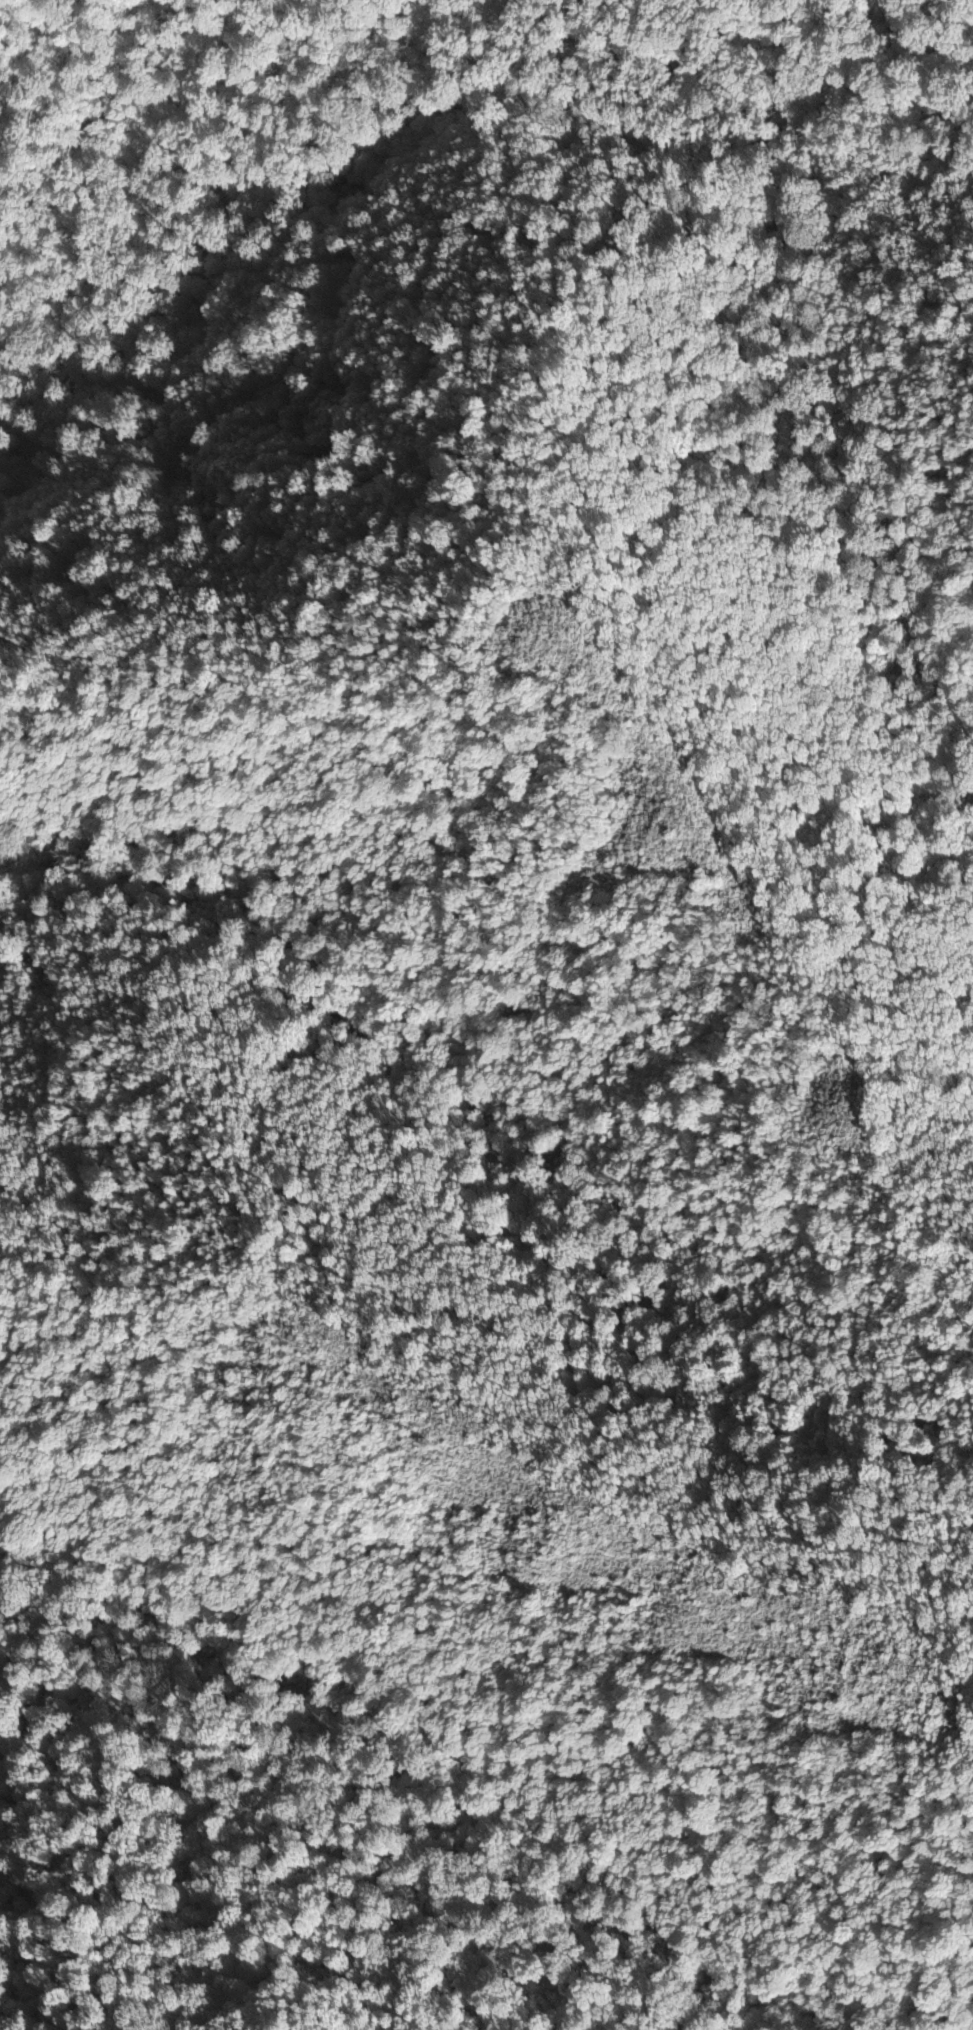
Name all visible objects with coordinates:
road: (178, 201)

